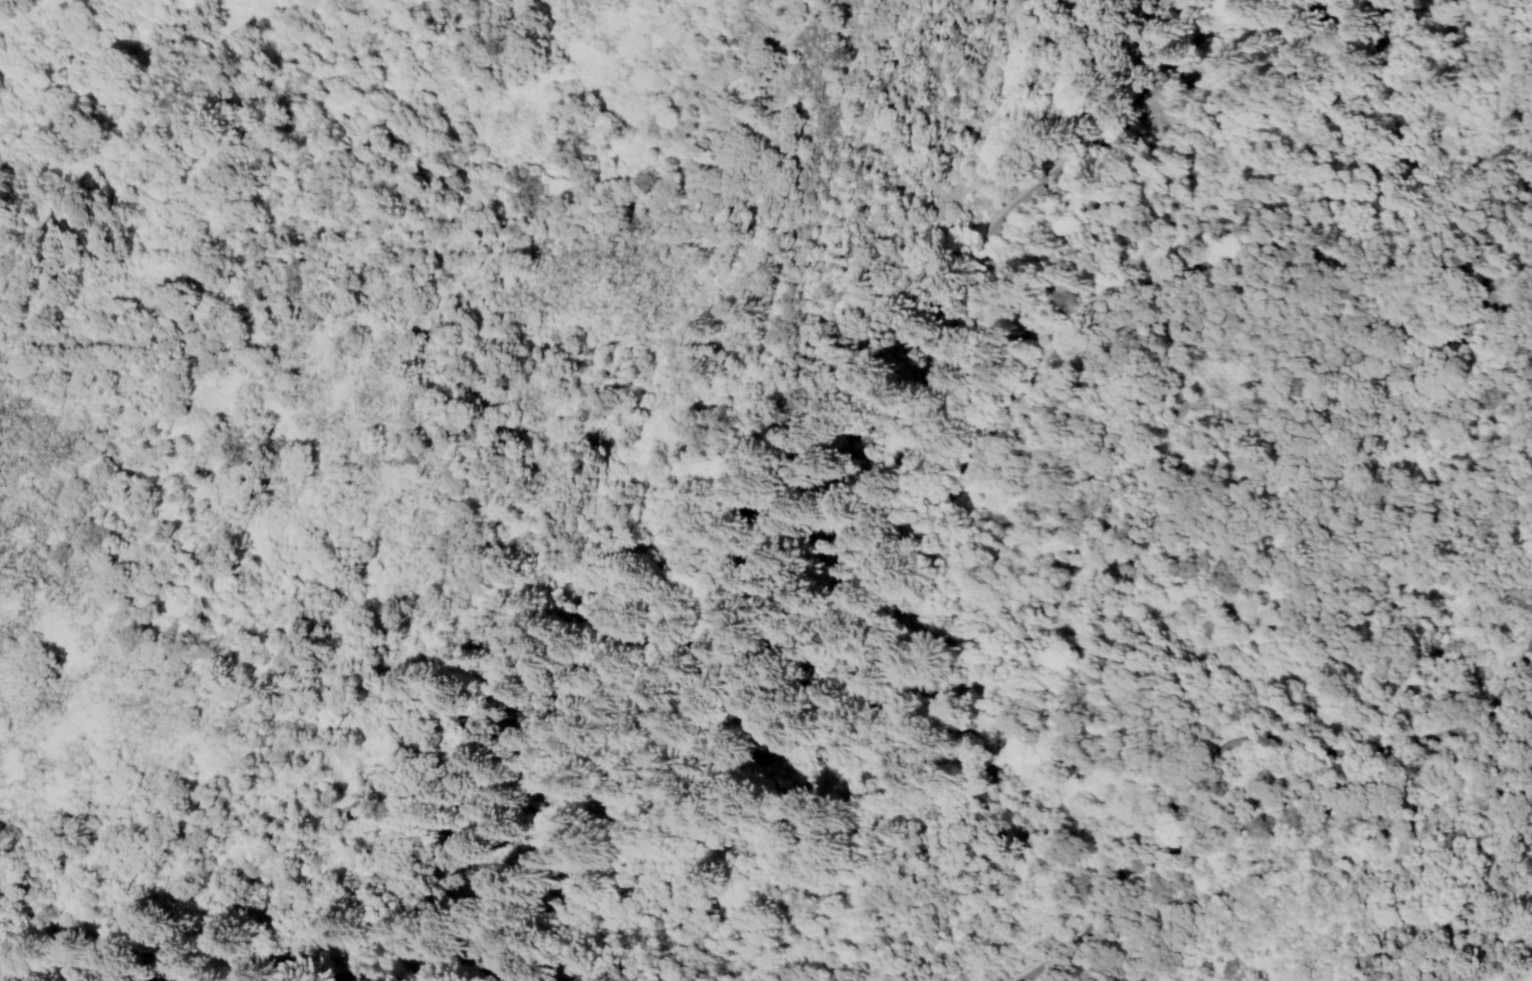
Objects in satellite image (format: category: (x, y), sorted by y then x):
road: (309, 170)

